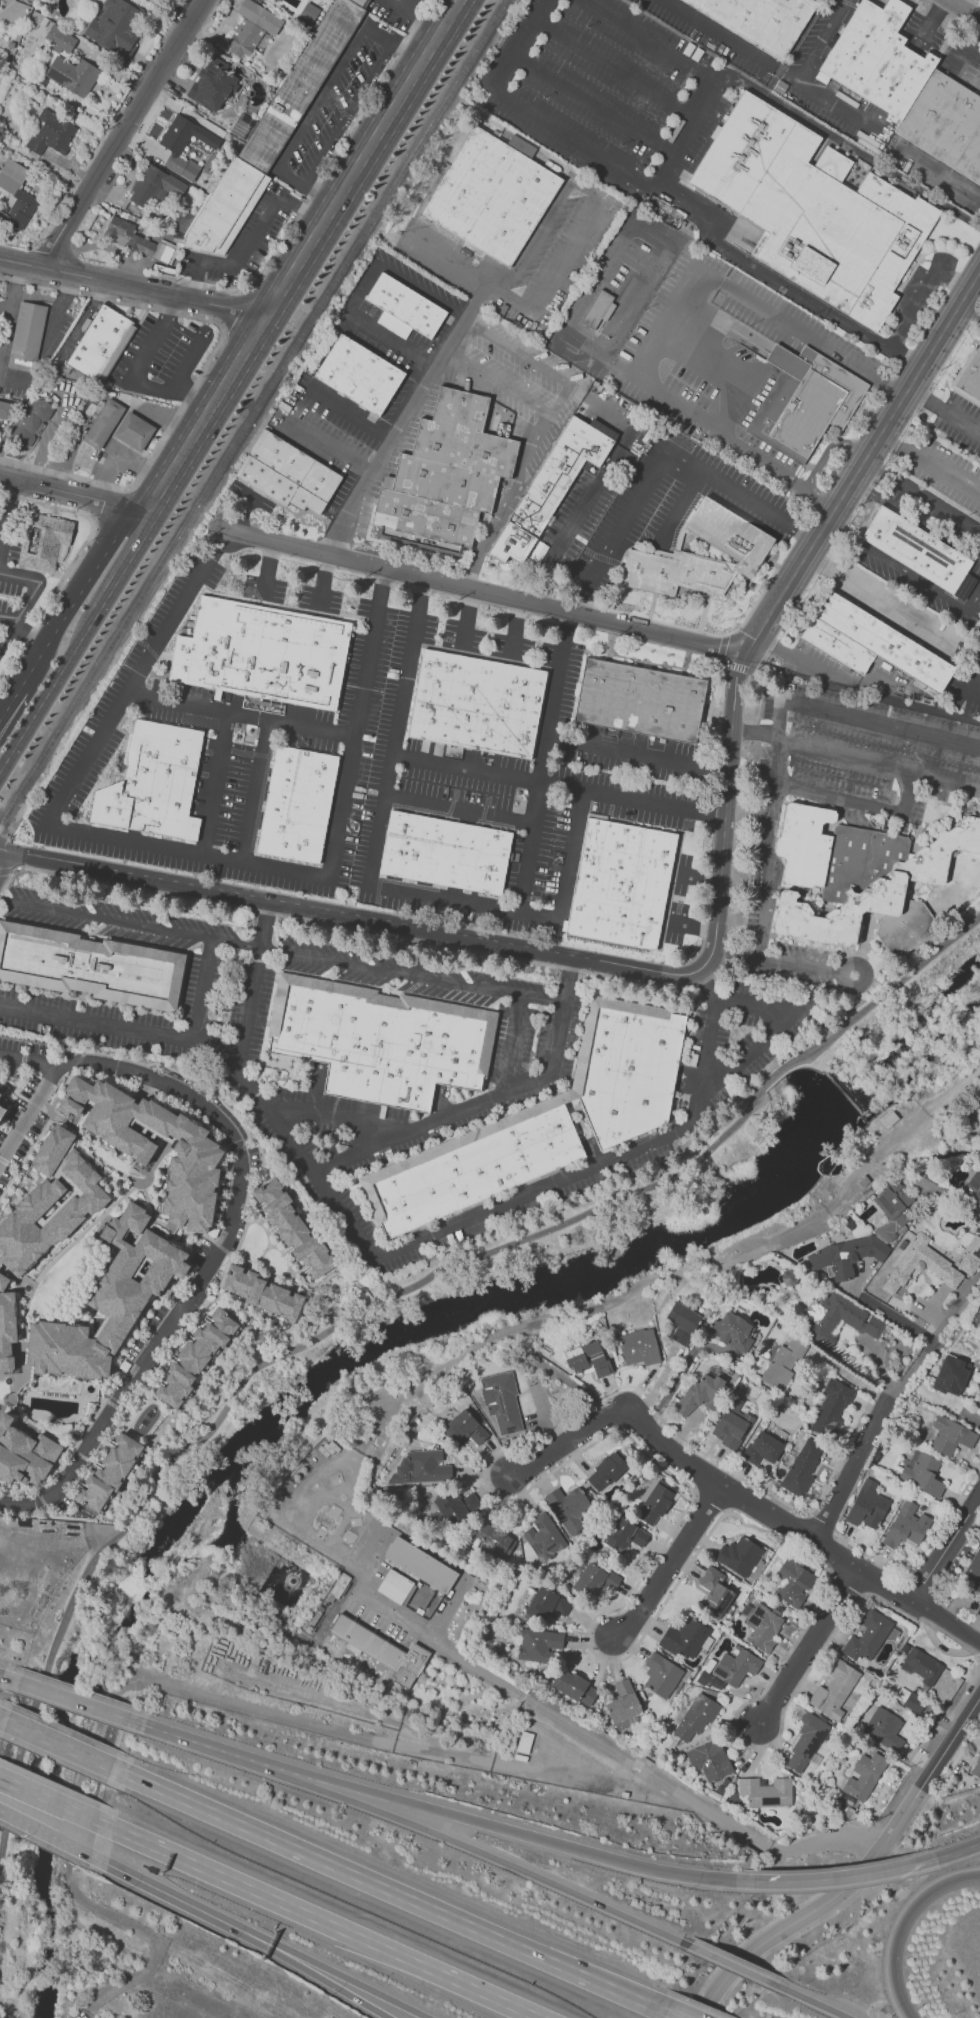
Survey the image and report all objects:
building: (153, 1)
road: (952, 1)
road: (963, 10)
building: (761, 21)
building: (115, 26)
building: (251, 27)
building: (60, 38)
road: (819, 42)
road: (408, 48)
road: (617, 67)
road: (702, 72)
building: (72, 74)
building: (211, 84)
building: (909, 87)
road: (319, 97)
road: (821, 101)
road: (595, 103)
road: (347, 111)
road: (530, 112)
road: (121, 132)
building: (49, 133)
building: (272, 133)
road: (830, 133)
building: (184, 145)
building: (850, 181)
building: (154, 185)
road: (313, 187)
road: (319, 192)
building: (15, 195)
building: (494, 196)
building: (813, 211)
road: (960, 214)
road: (547, 216)
road: (252, 239)
building: (139, 240)
road: (733, 252)
road: (302, 255)
road: (449, 260)
road: (22, 262)
road: (397, 273)
road: (974, 277)
road: (154, 291)
road: (920, 294)
road: (964, 295)
road: (547, 296)
building: (403, 308)
building: (597, 308)
road: (235, 310)
road: (969, 310)
road: (798, 325)
building: (110, 327)
road: (856, 329)
building: (27, 332)
road: (939, 336)
road: (390, 341)
road: (193, 347)
road: (516, 351)
building: (91, 357)
road: (903, 358)
road: (204, 368)
road: (133, 374)
building: (358, 374)
road: (913, 376)
road: (889, 381)
building: (971, 381)
road: (498, 382)
road: (647, 387)
road: (906, 388)
railway: (243, 400)
building: (804, 402)
railway: (247, 407)
road: (944, 408)
building: (4, 409)
railway: (251, 413)
road: (161, 414)
road: (349, 418)
building: (32, 422)
building: (121, 425)
road: (390, 432)
road: (894, 444)
road: (331, 446)
road: (828, 449)
road: (659, 460)
road: (131, 461)
road: (81, 462)
road: (945, 474)
building: (291, 476)
building: (448, 476)
road: (514, 486)
building: (551, 489)
road: (815, 491)
road: (72, 493)
road: (676, 508)
road: (7, 514)
road: (915, 518)
road: (124, 526)
building: (733, 536)
building: (42, 541)
building: (919, 549)
road: (75, 557)
road: (546, 563)
parking lot: (8, 566)
road: (129, 566)
road: (269, 567)
road: (902, 570)
building: (677, 574)
road: (326, 580)
road: (873, 591)
road: (485, 592)
road: (29, 598)
road: (59, 613)
road: (6, 622)
road: (694, 630)
road: (27, 635)
building: (873, 644)
building: (264, 655)
road: (738, 661)
road: (723, 662)
road: (971, 683)
road: (49, 693)
road: (858, 694)
building: (639, 699)
road: (8, 701)
building: (479, 705)
road: (241, 713)
road: (859, 721)
road: (756, 733)
road: (575, 744)
road: (879, 769)
road: (488, 771)
road: (217, 783)
building: (156, 785)
road: (252, 789)
road: (858, 803)
building: (299, 806)
road: (458, 807)
road: (4, 845)
road: (527, 847)
road: (170, 848)
road: (768, 851)
traffic signals: (10, 852)
building: (446, 854)
road: (5, 862)
road: (7, 871)
building: (862, 878)
building: (624, 885)
road: (444, 899)
road: (347, 915)
road: (364, 931)
road: (260, 948)
road: (776, 961)
road: (863, 966)
building: (90, 968)
road: (254, 986)
road: (205, 989)
road: (870, 993)
road: (542, 1001)
road: (738, 1001)
building: (383, 1043)
road: (513, 1045)
building: (630, 1071)
road: (712, 1088)
road: (40, 1093)
road: (485, 1101)
building: (4, 1110)
road: (340, 1121)
building: (153, 1145)
building: (475, 1169)
building: (973, 1185)
building: (893, 1208)
road: (343, 1216)
building: (44, 1220)
road: (260, 1223)
building: (291, 1227)
road: (283, 1255)
building: (847, 1255)
road: (714, 1259)
road: (210, 1265)
road: (262, 1266)
building: (926, 1266)
road: (309, 1284)
building: (261, 1293)
building: (109, 1298)
road: (388, 1301)
road: (891, 1315)
building: (846, 1317)
building: (682, 1322)
building: (730, 1330)
road: (936, 1337)
building: (638, 1346)
park: (463, 1350)
building: (195, 1357)
building: (585, 1359)
building: (783, 1362)
building: (950, 1375)
road: (850, 1378)
road: (672, 1385)
building: (699, 1394)
building: (979, 1398)
building: (501, 1403)
building: (830, 1408)
building: (730, 1428)
building: (464, 1430)
building: (950, 1435)
road: (570, 1446)
building: (762, 1448)
building: (24, 1454)
building: (421, 1467)
building: (801, 1468)
road: (852, 1470)
building: (606, 1471)
building: (922, 1472)
building: (108, 1473)
building: (655, 1503)
building: (867, 1505)
building: (451, 1508)
building: (568, 1508)
road: (66, 1516)
road: (114, 1521)
building: (907, 1527)
road: (798, 1534)
building: (624, 1535)
building: (492, 1539)
road: (946, 1549)
building: (739, 1555)
building: (420, 1564)
road: (677, 1573)
building: (973, 1575)
building: (595, 1579)
building: (793, 1583)
building: (396, 1586)
building: (337, 1587)
building: (715, 1592)
building: (546, 1604)
building: (762, 1627)
building: (867, 1637)
building: (684, 1638)
building: (538, 1644)
road: (810, 1646)
building: (385, 1652)
road: (976, 1652)
building: (921, 1665)
building: (736, 1667)
building: (661, 1675)
road: (9, 1677)
building: (568, 1683)
road: (184, 1685)
building: (834, 1689)
building: (588, 1694)
road: (73, 1699)
building: (910, 1700)
building: (622, 1702)
building: (696, 1716)
road: (3, 1718)
road: (561, 1719)
building: (884, 1729)
road: (59, 1743)
building: (806, 1743)
road: (212, 1746)
road: (930, 1751)
building: (709, 1759)
building: (976, 1768)
building: (864, 1776)
building: (766, 1791)
road: (48, 1798)
road: (45, 1833)
road: (525, 1834)
road: (868, 1843)
road: (825, 1844)
road: (949, 1854)
road: (497, 1860)
road: (836, 1877)
road: (856, 1877)
road: (388, 1889)
road: (862, 1889)
road: (175, 1898)
road: (317, 1919)
road: (899, 1923)
road: (760, 1929)
road: (268, 1941)
road: (266, 1946)
road: (731, 1965)
road: (350, 1980)
road: (331, 1984)
road: (809, 2000)
road: (83, 2015)
road: (671, 2015)

